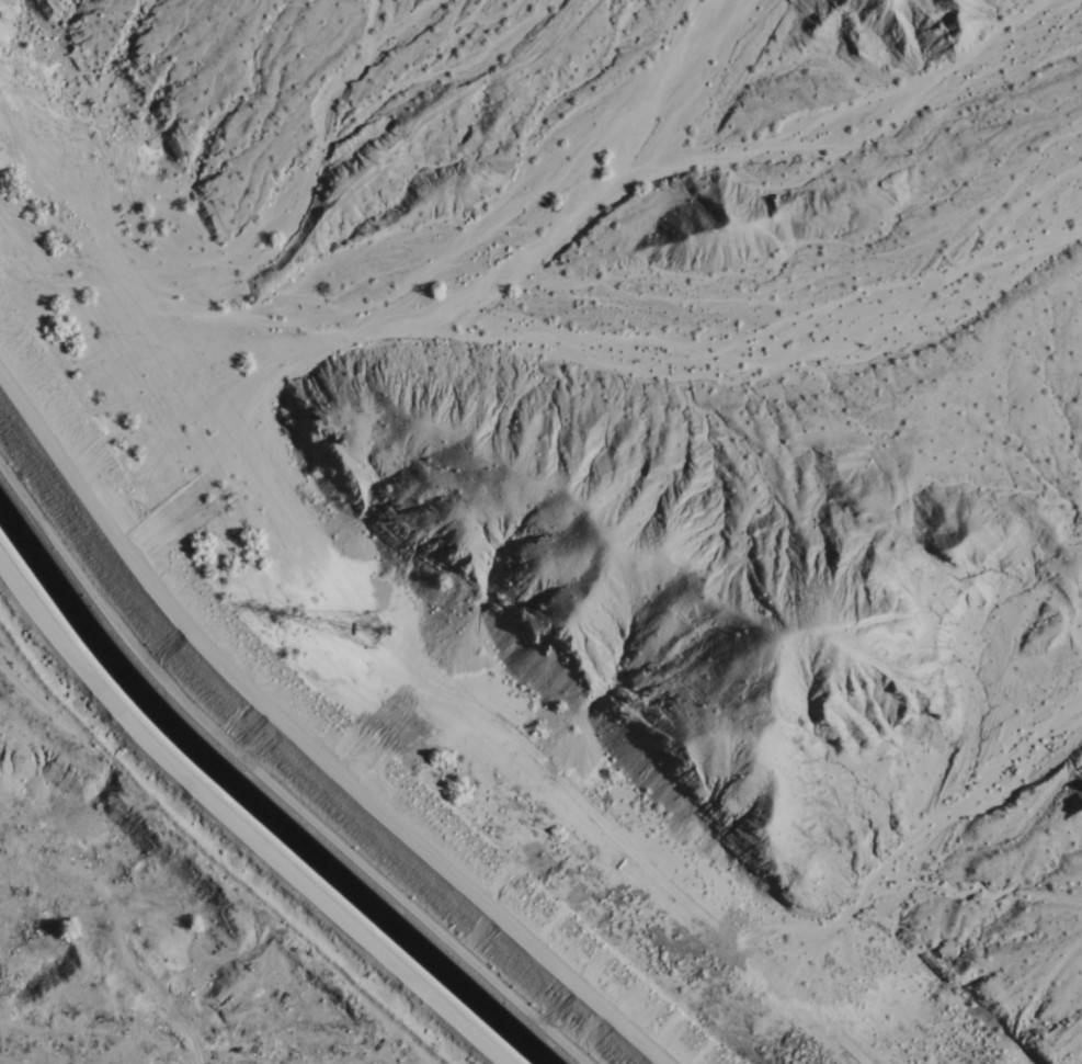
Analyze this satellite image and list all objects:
power tower: (354, 615)

